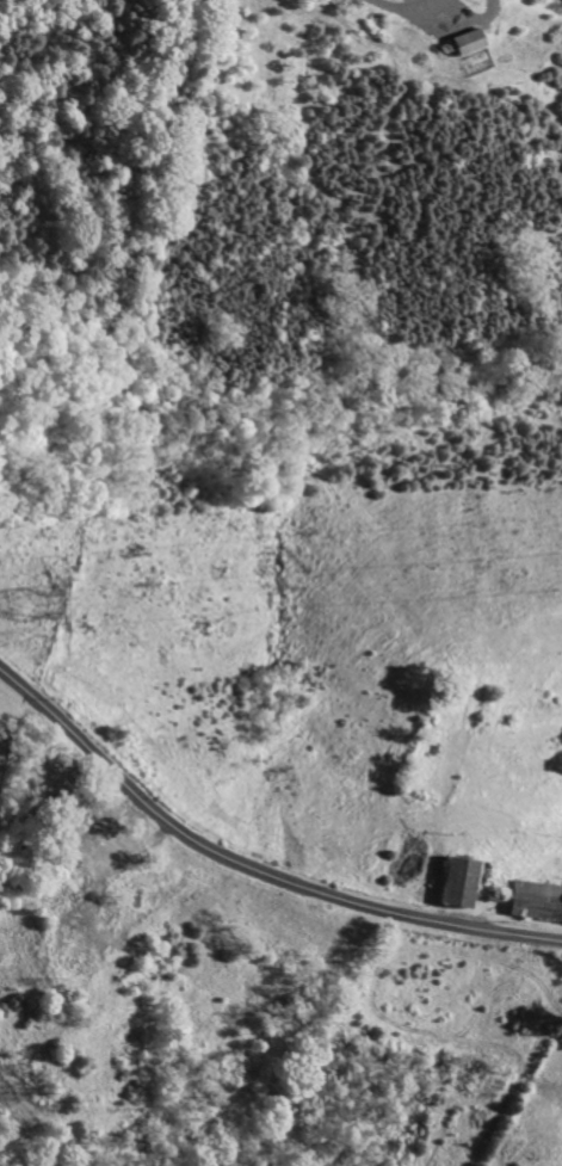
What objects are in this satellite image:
road: (415, 0)
building: (465, 43)
power tower: (57, 615)
building: (101, 837)
building: (91, 849)
road: (251, 868)
building: (457, 882)
building: (536, 900)

